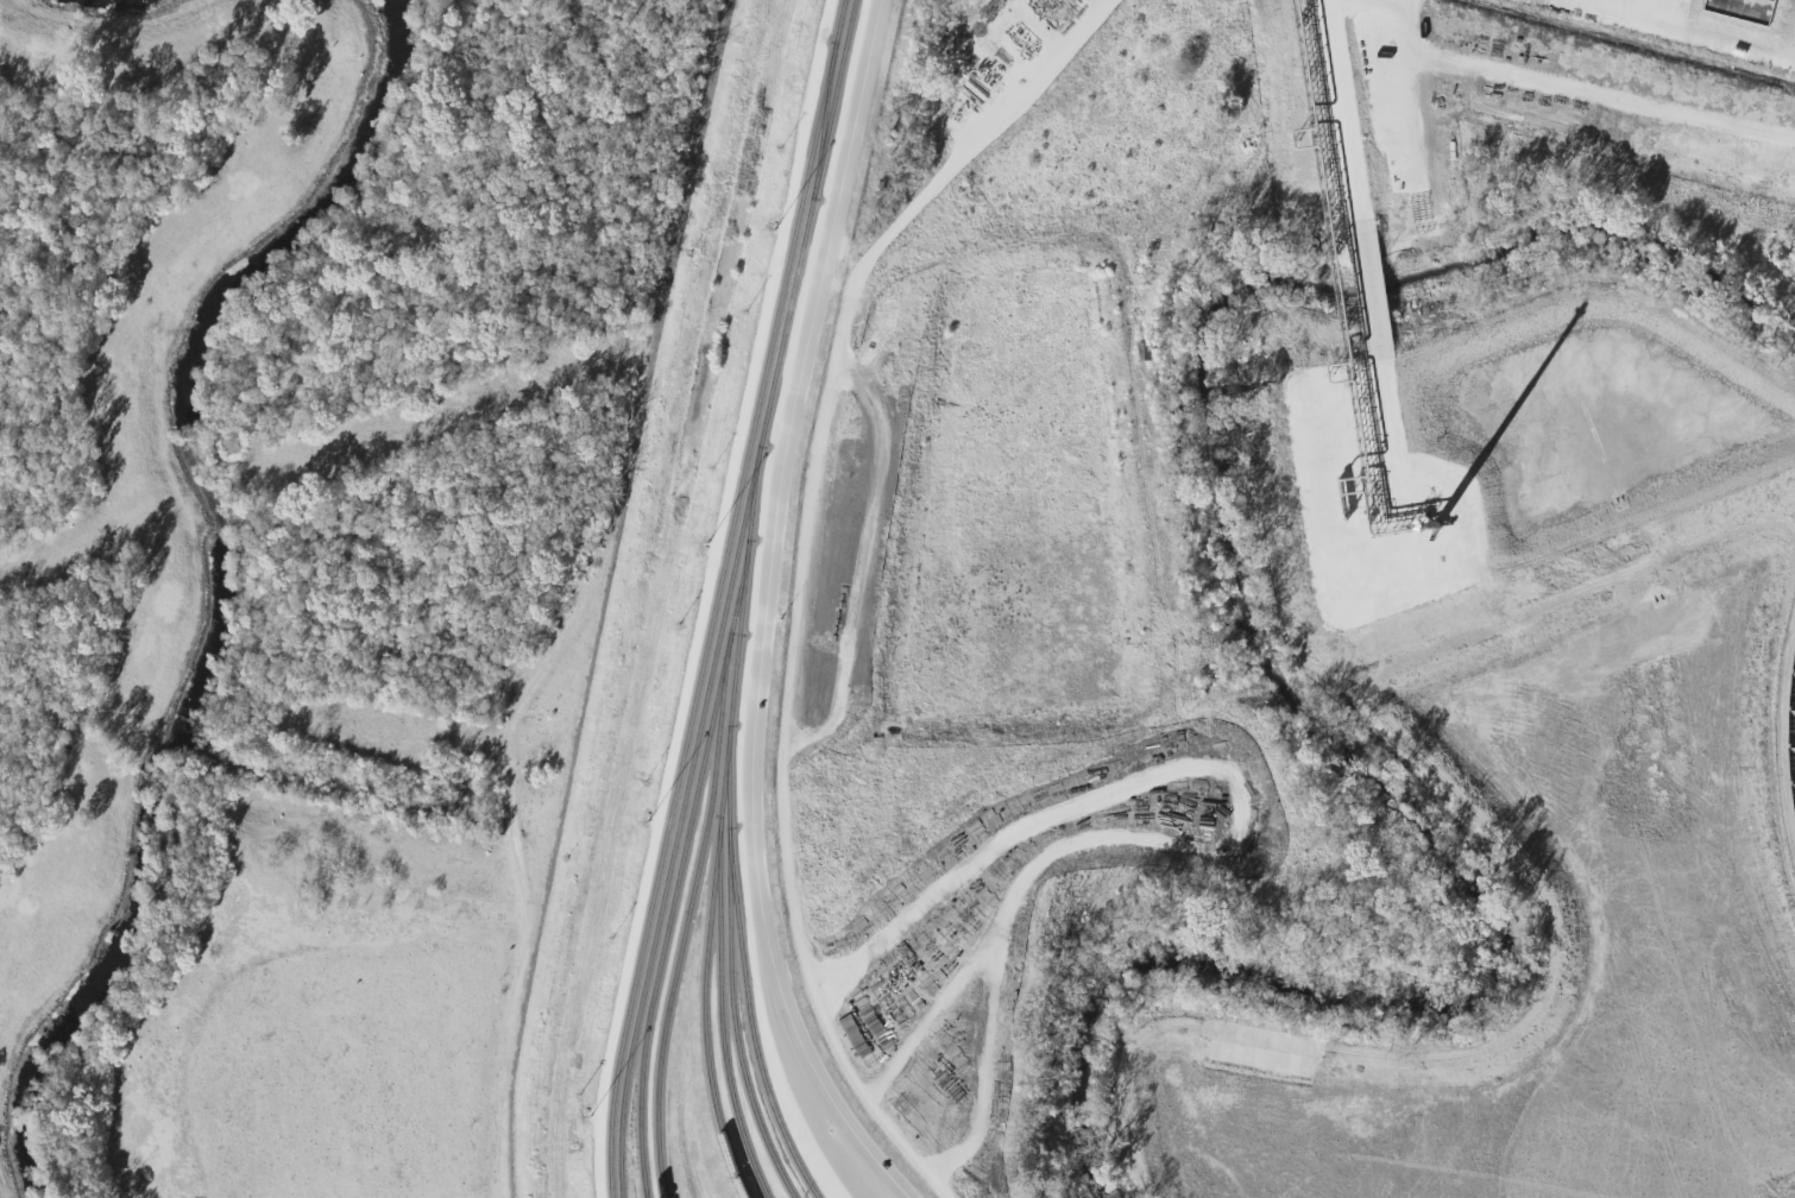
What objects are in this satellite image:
road: (802, 572)
river: (221, 584)
railway: (717, 597)
railway: (726, 597)
road: (762, 607)
railway: (1787, 737)
road: (517, 979)

